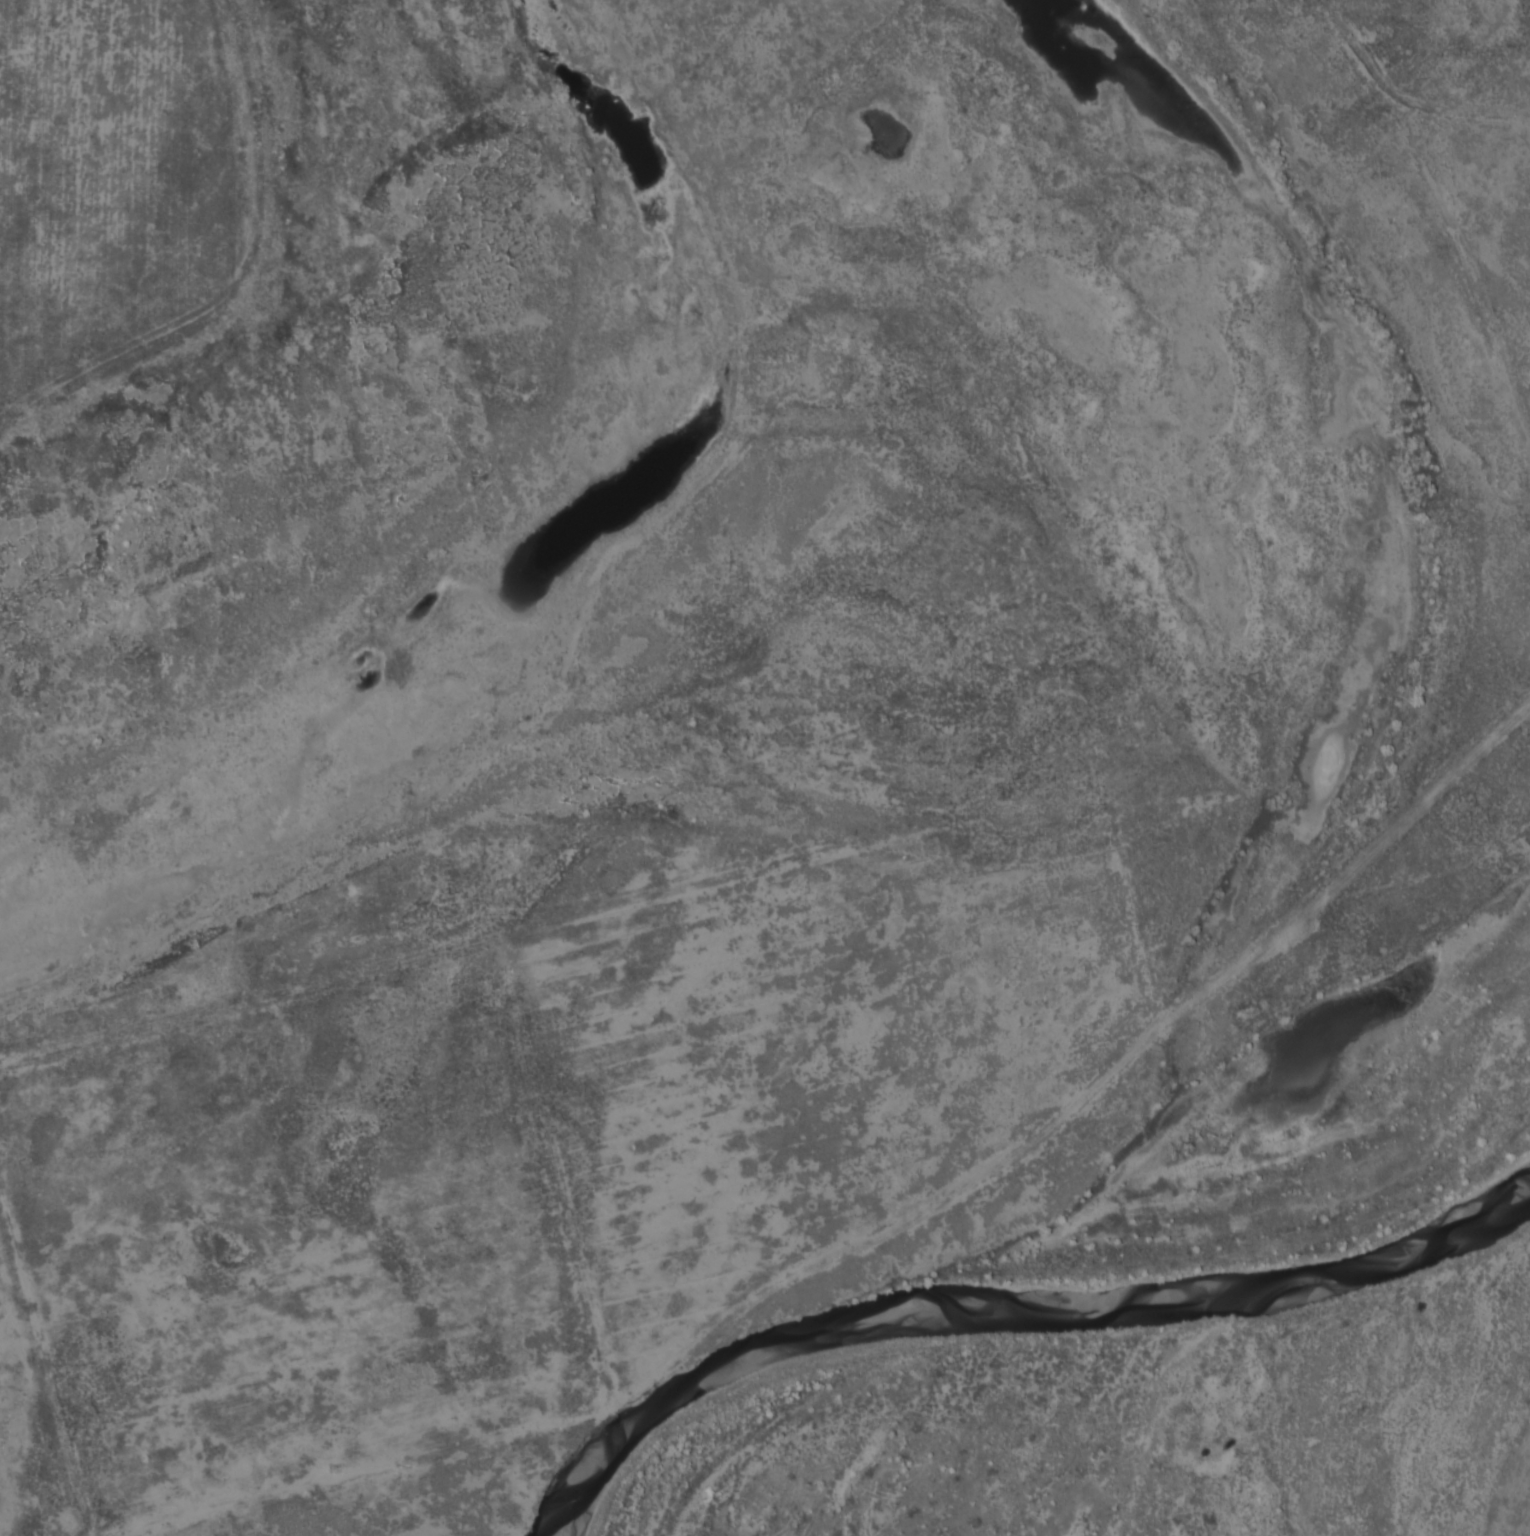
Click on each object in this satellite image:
river: (1018, 1316)

